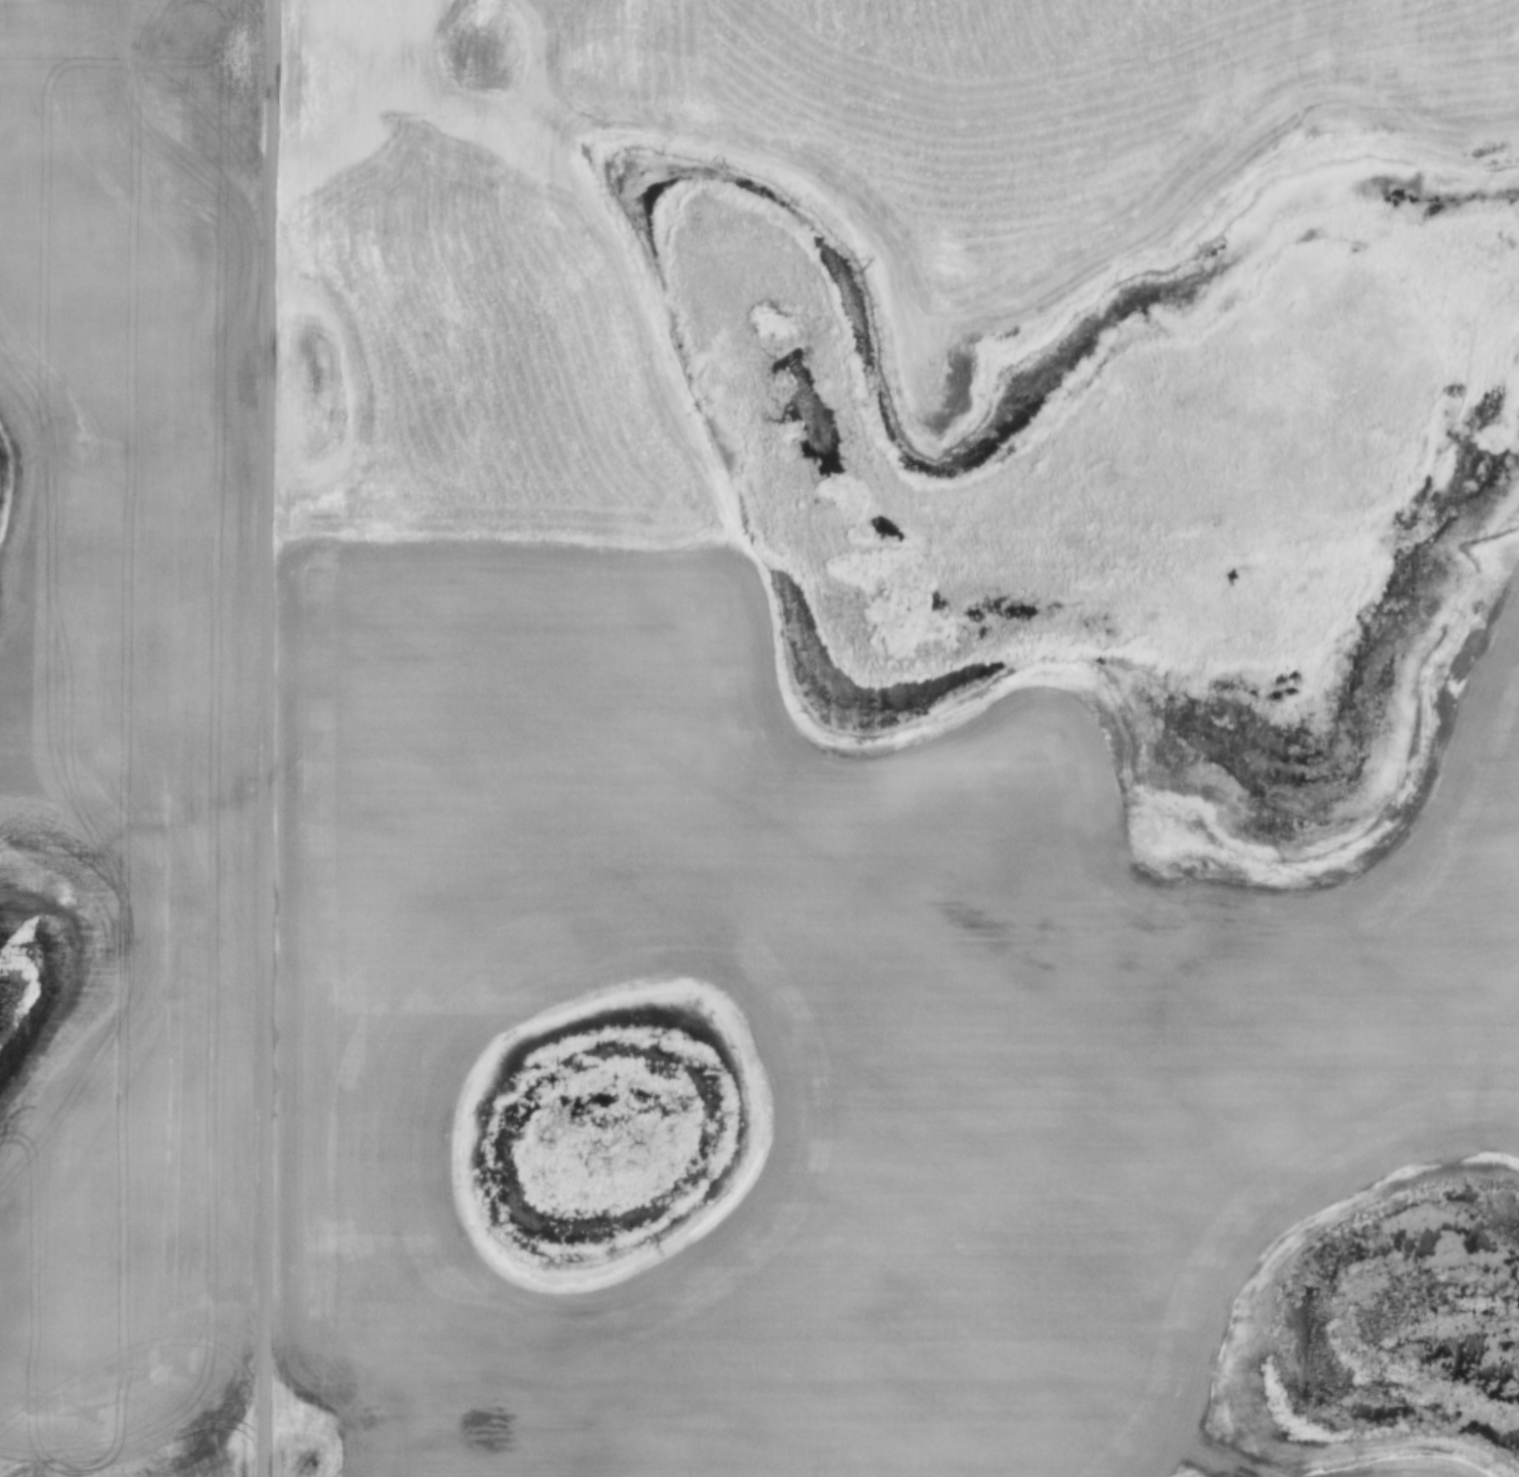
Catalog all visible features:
road: (267, 738)

